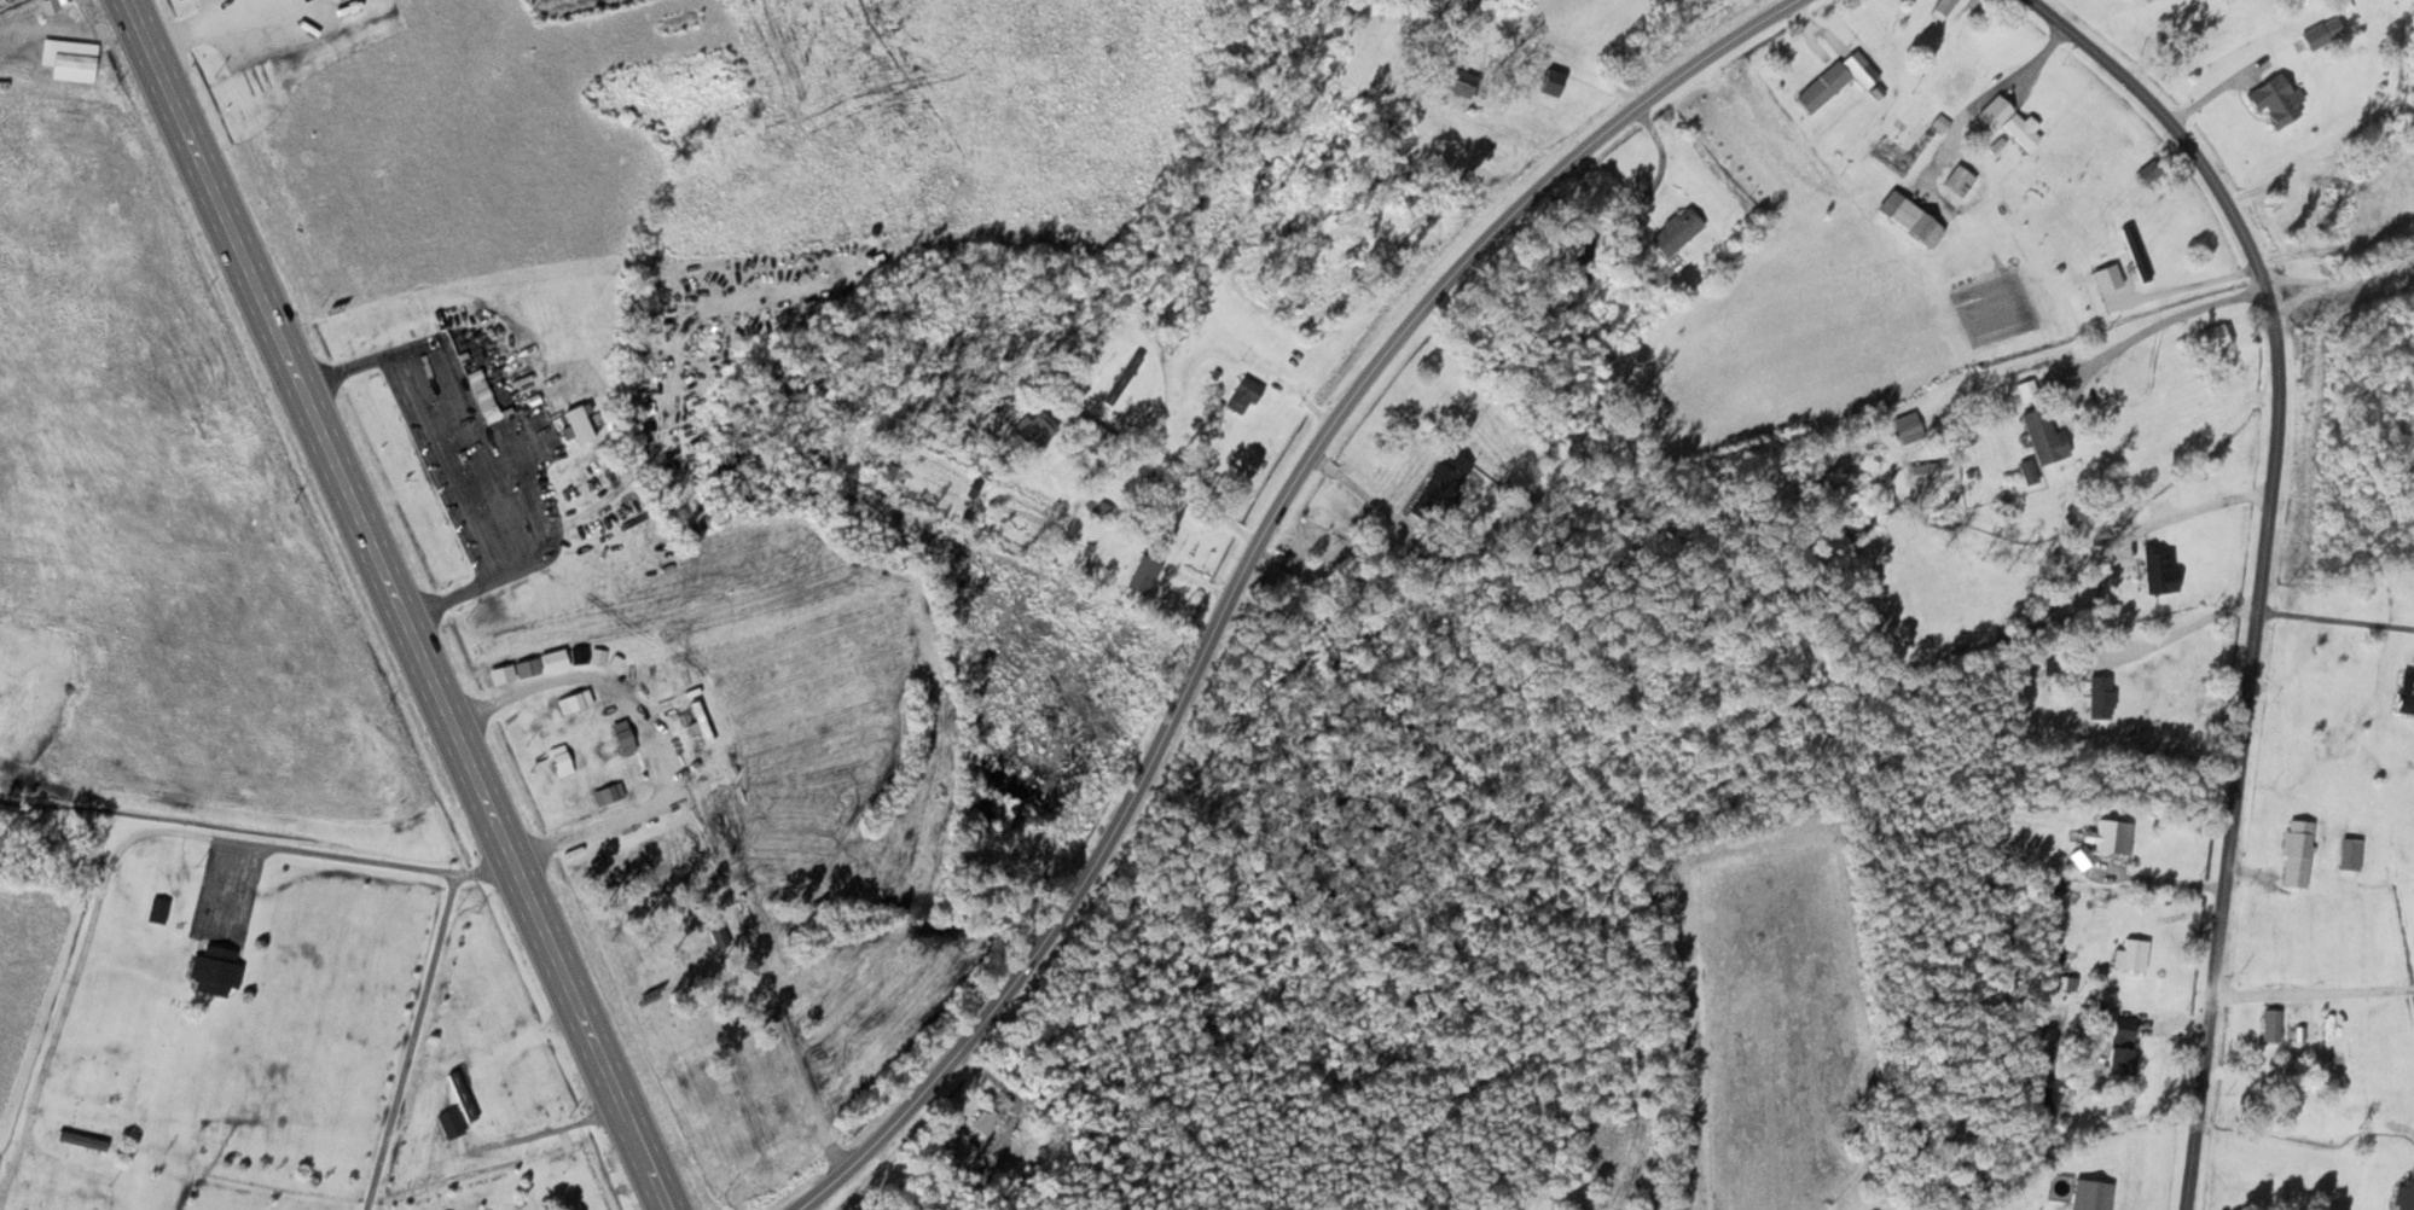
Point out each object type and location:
building: (1942, 8)
building: (2321, 33)
building: (1859, 68)
building: (1547, 81)
building: (1822, 87)
building: (2275, 100)
building: (2009, 122)
building: (1959, 180)
building: (1909, 219)
building: (1673, 232)
building: (2136, 252)
building: (2216, 339)
building: (1243, 395)
building: (576, 424)
building: (1092, 427)
building: (1907, 427)
building: (1033, 432)
building: (2043, 437)
building: (2027, 472)
building: (1439, 487)
crop: (155, 495)
building: (1101, 511)
road: (2265, 562)
road: (1247, 564)
building: (1142, 575)
road: (400, 604)
building: (2404, 693)
building: (2101, 697)
building: (700, 721)
building: (2103, 842)
building: (2296, 853)
building: (2350, 854)
building: (158, 909)
building: (2134, 953)
building: (216, 968)
building: (2066, 982)
road: (2315, 990)
building: (2270, 1024)
building: (2119, 1043)
building: (991, 1115)
building: (2090, 1194)
building: (2404, 1194)

